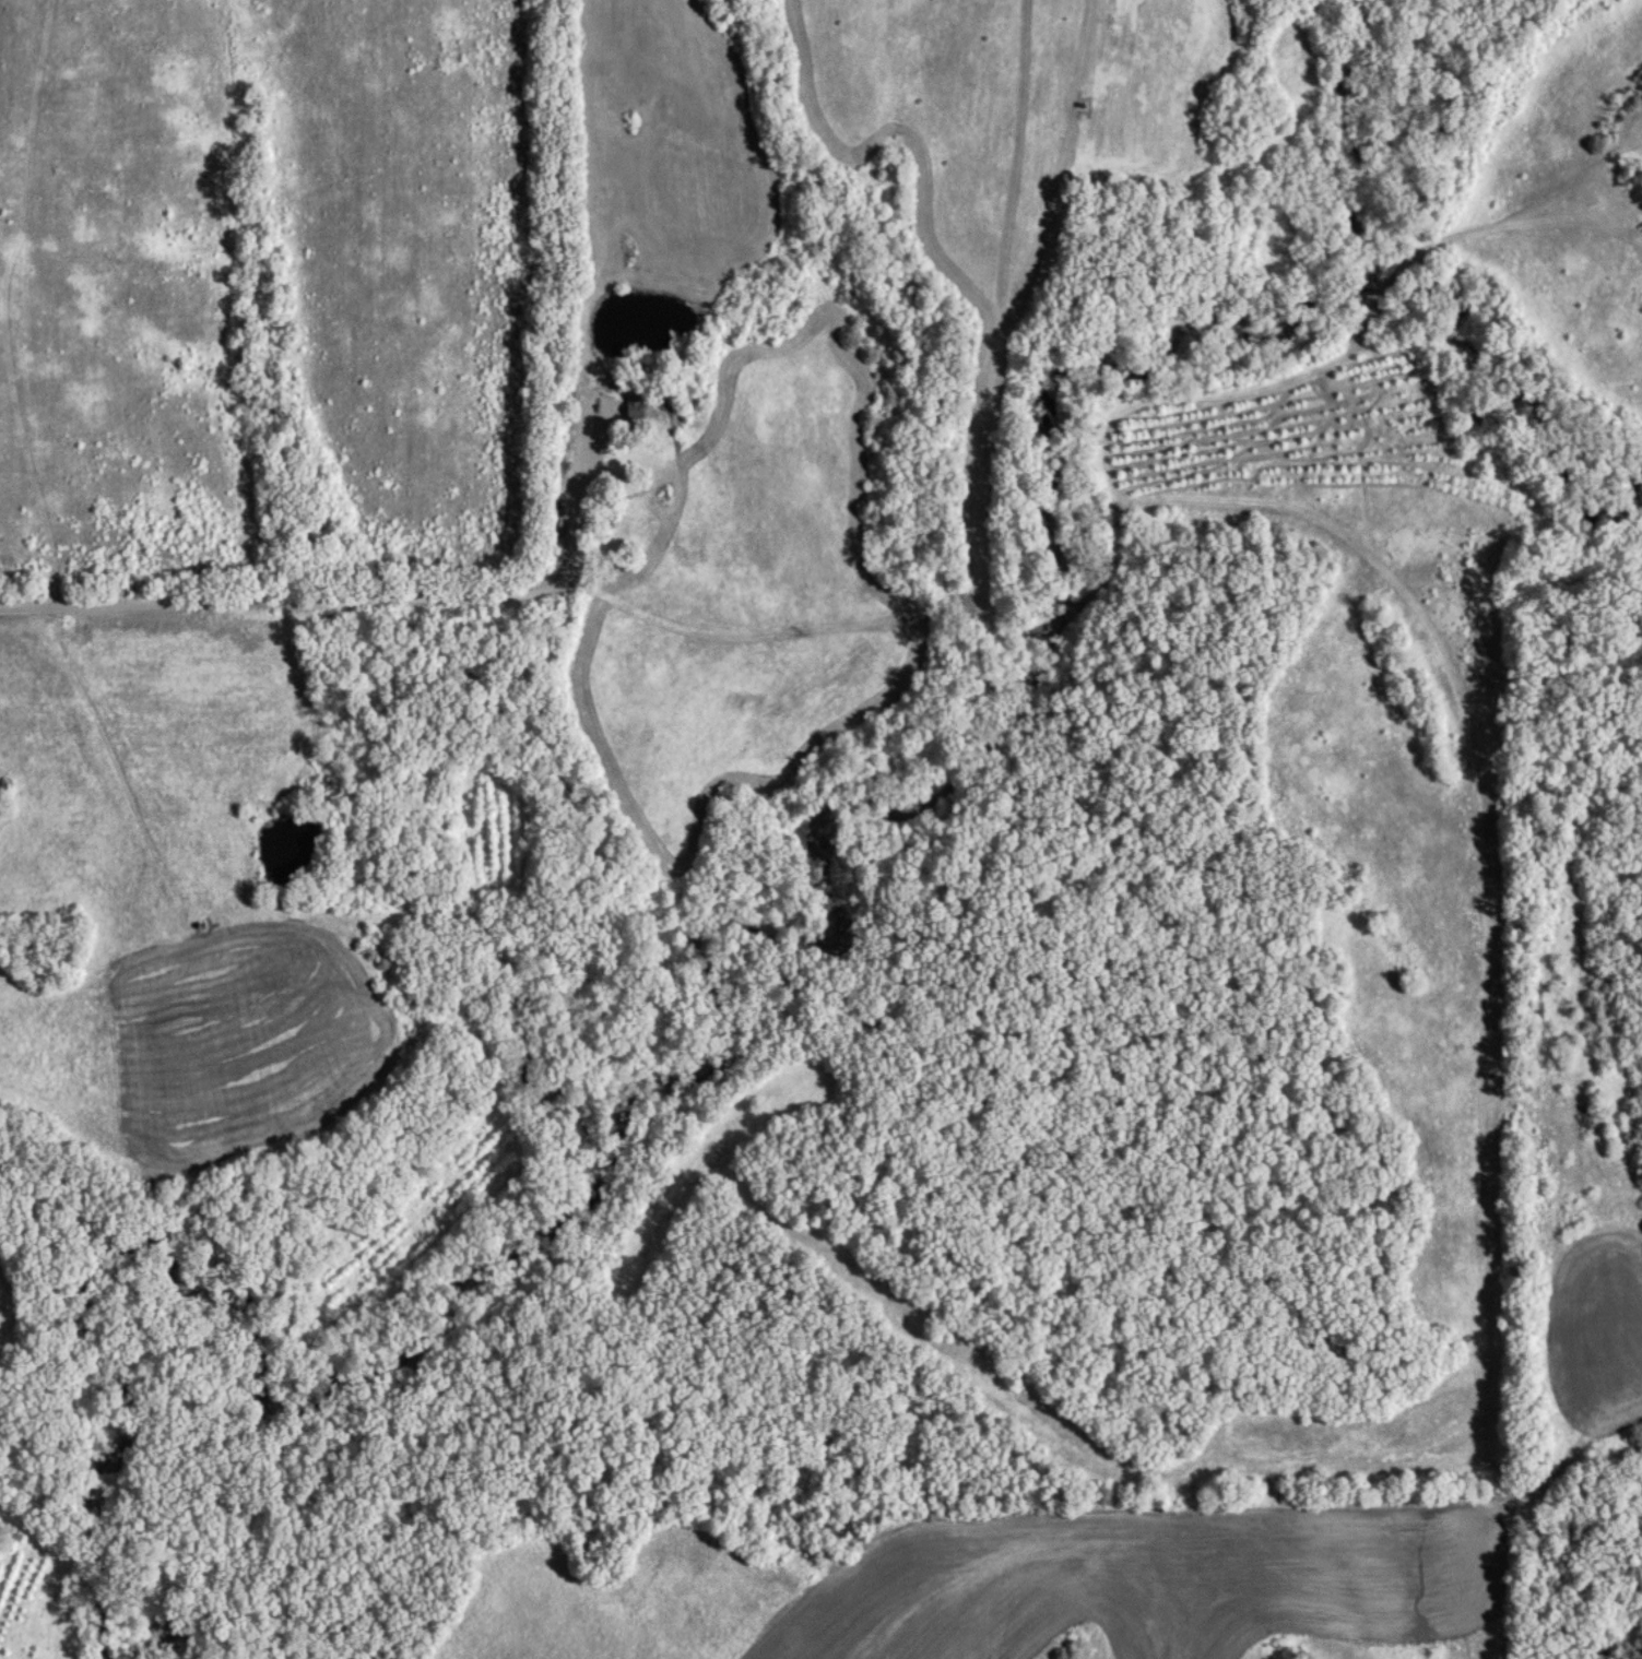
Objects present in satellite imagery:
road: (288, 600)

